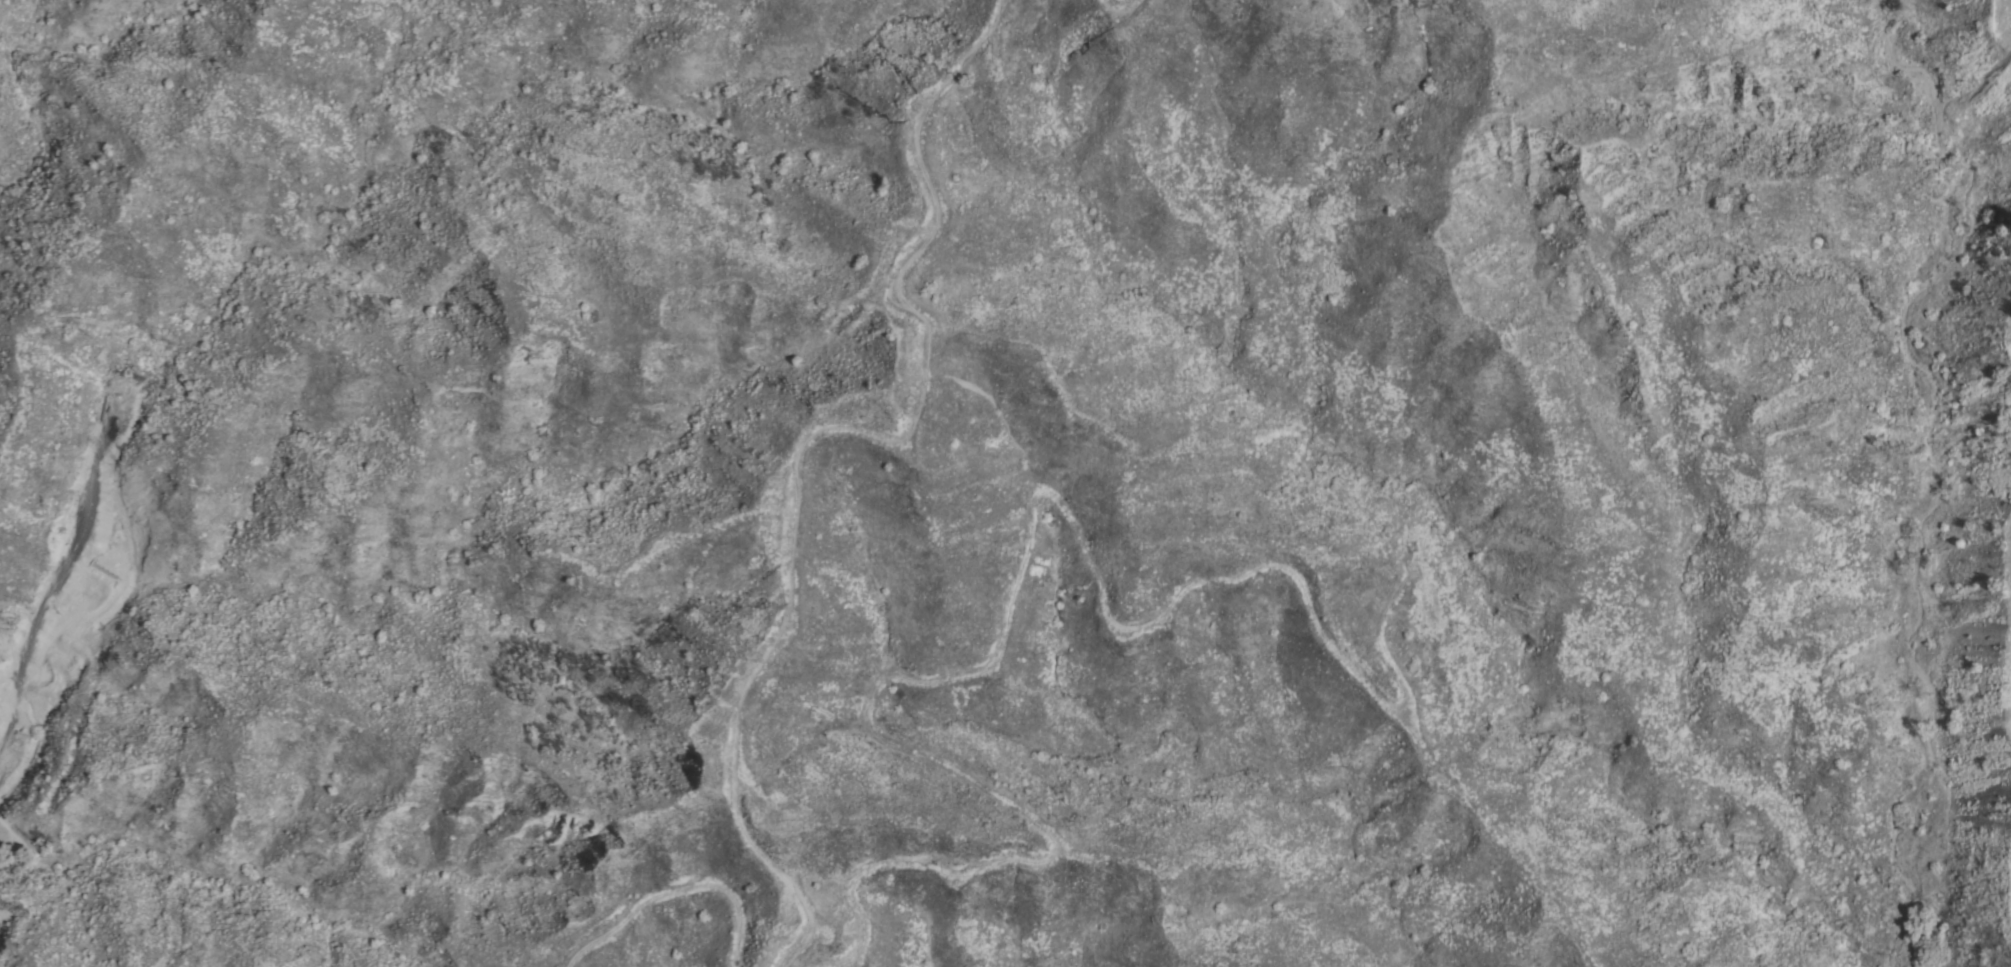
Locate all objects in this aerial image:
road: (1120, 3)
road: (807, 431)
building: (1409, 540)
building: (115, 566)
road: (1007, 596)
building: (24, 731)
road: (670, 888)
building: (772, 942)

